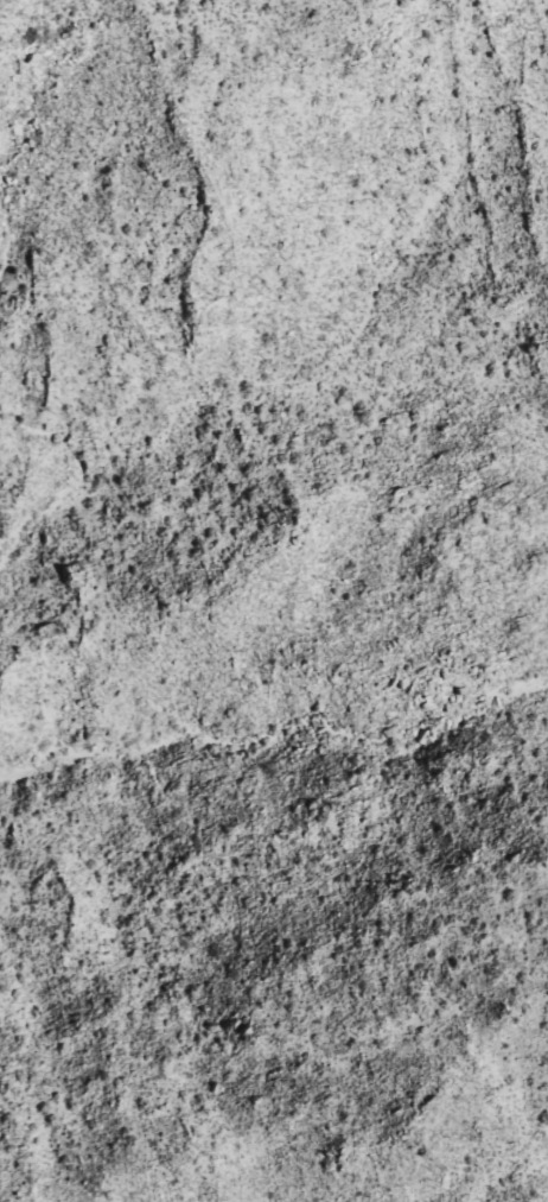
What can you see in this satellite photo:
road: (14, 772)

